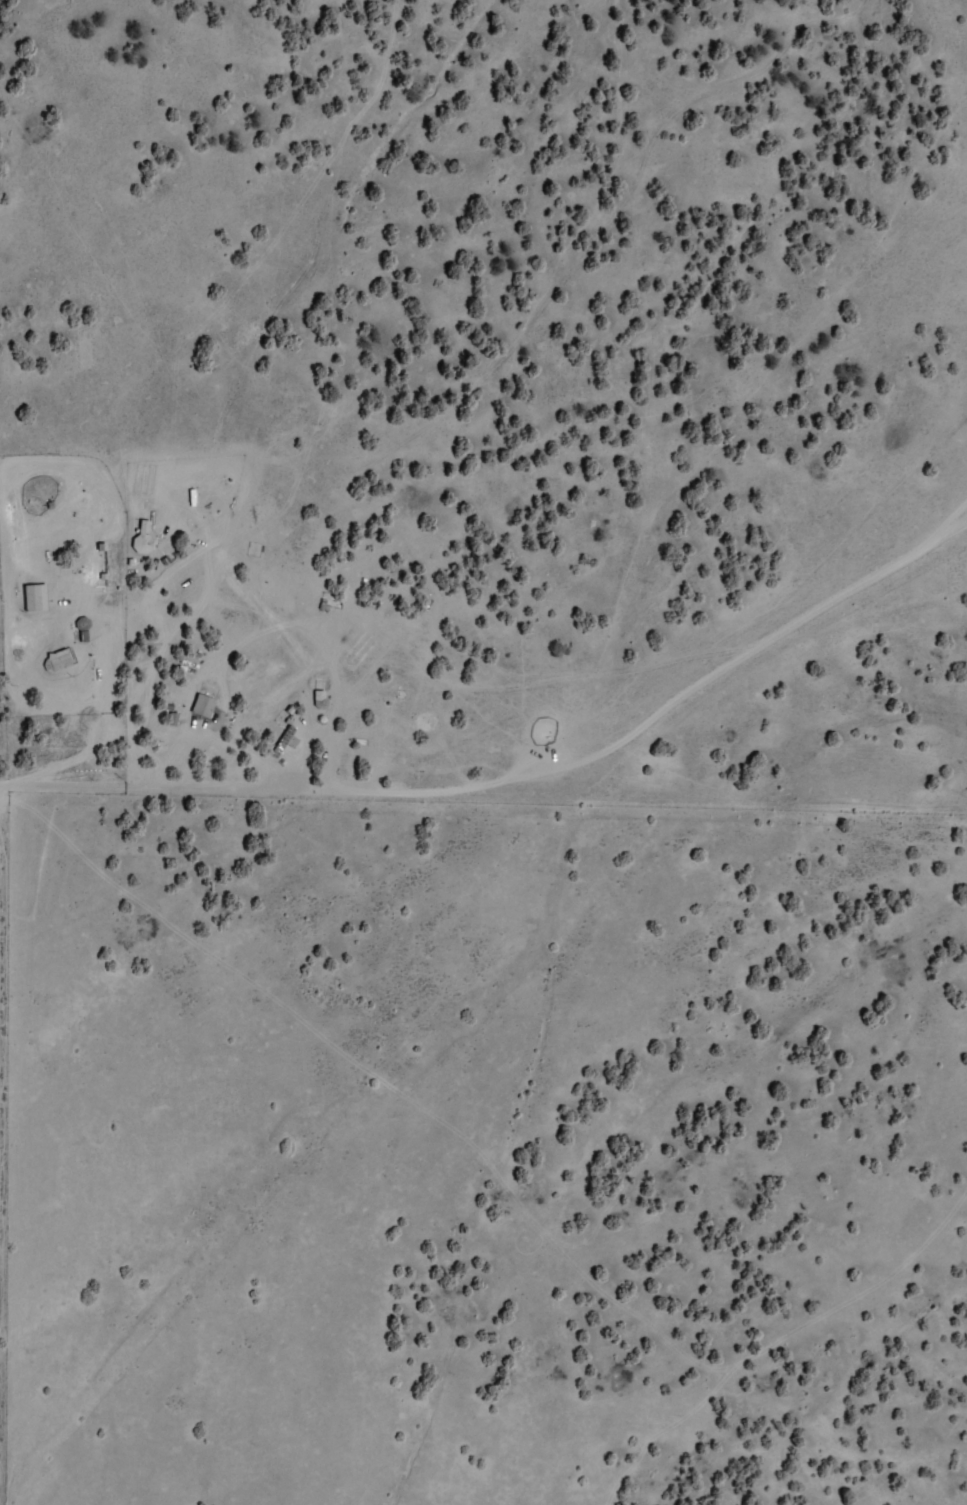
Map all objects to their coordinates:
building: (35, 597)
building: (57, 661)
building: (202, 706)
building: (281, 741)
road: (518, 776)

